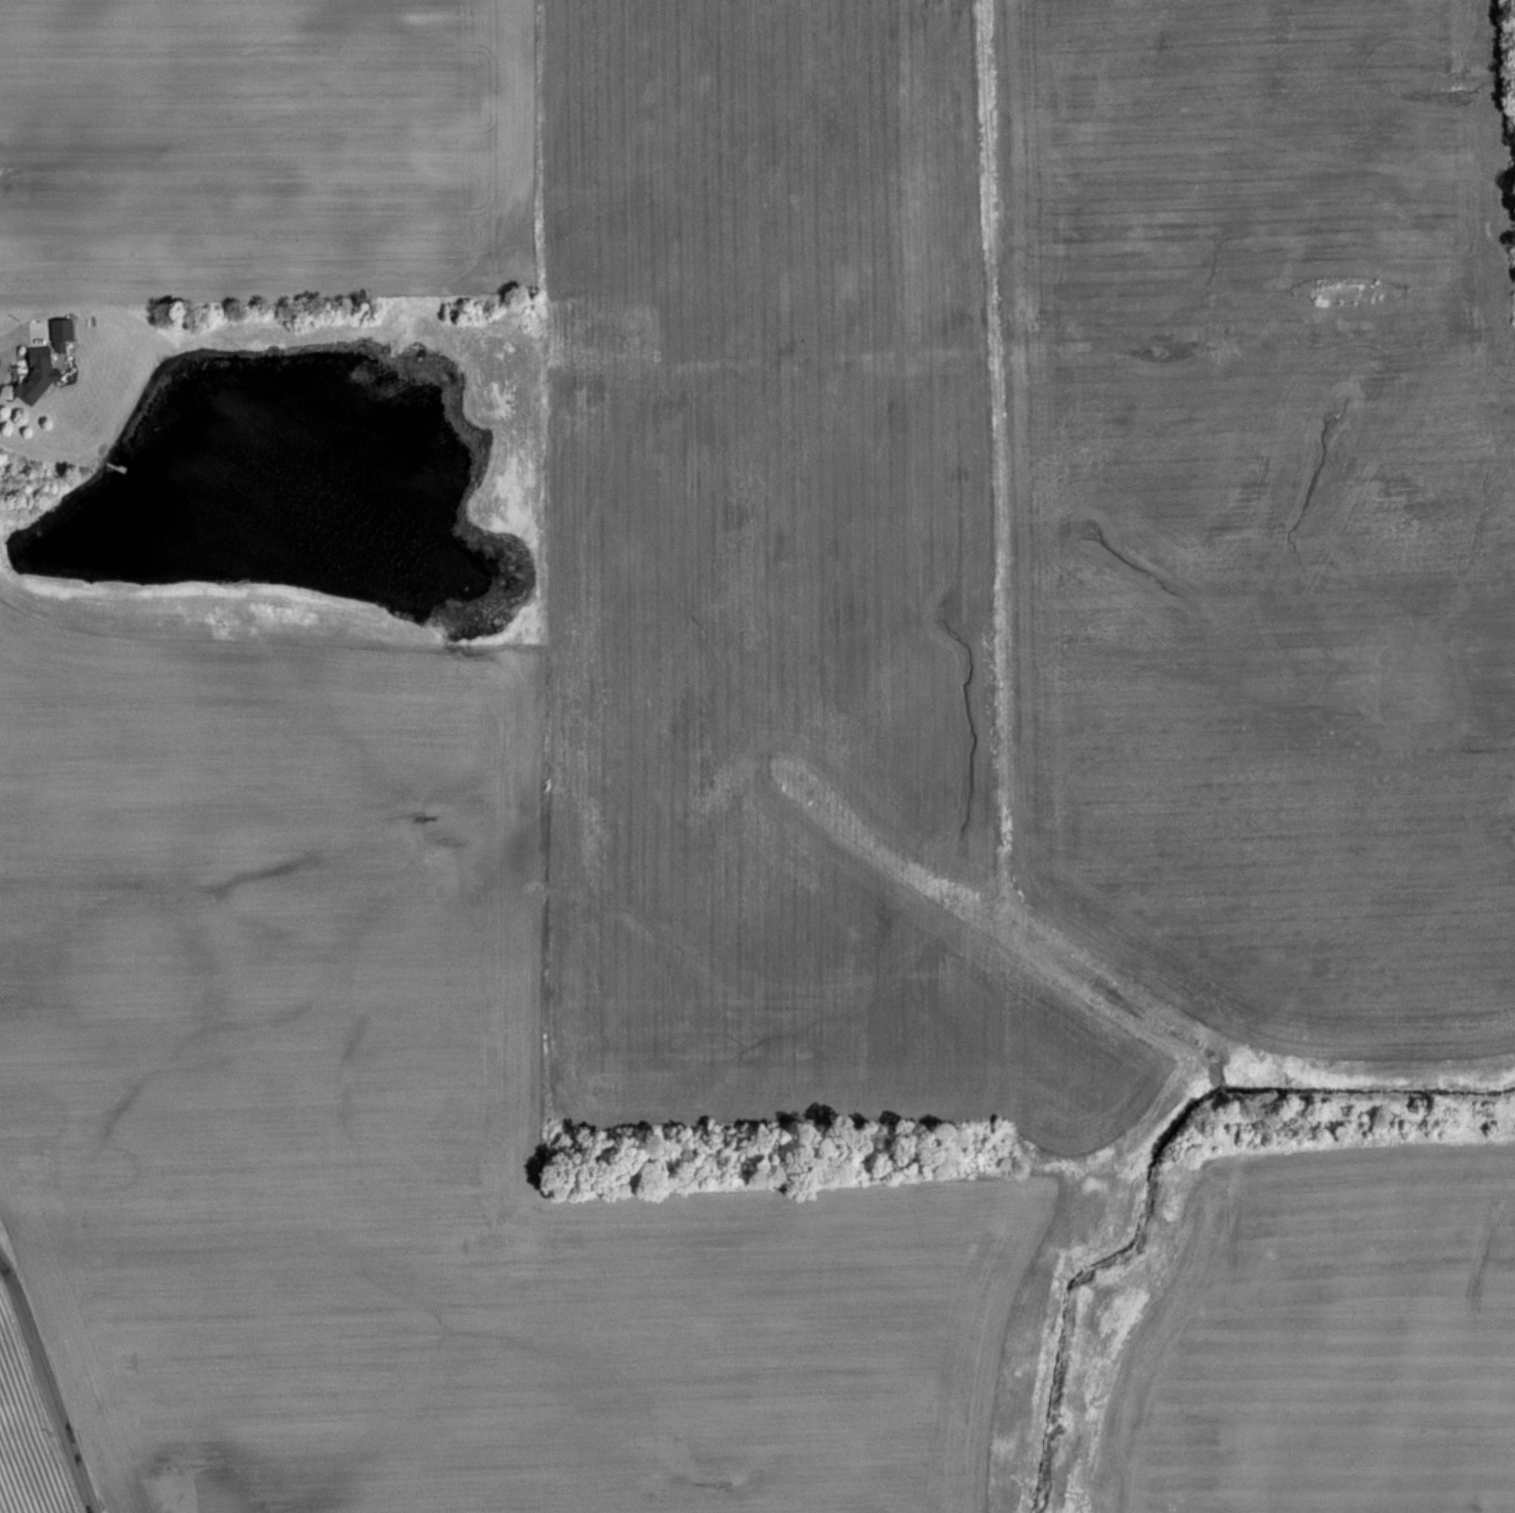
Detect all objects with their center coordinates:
building: (55, 333)
road: (2, 357)
building: (30, 375)
crop: (763, 750)
road: (8, 1276)
road: (51, 1403)
crop: (52, 1428)

